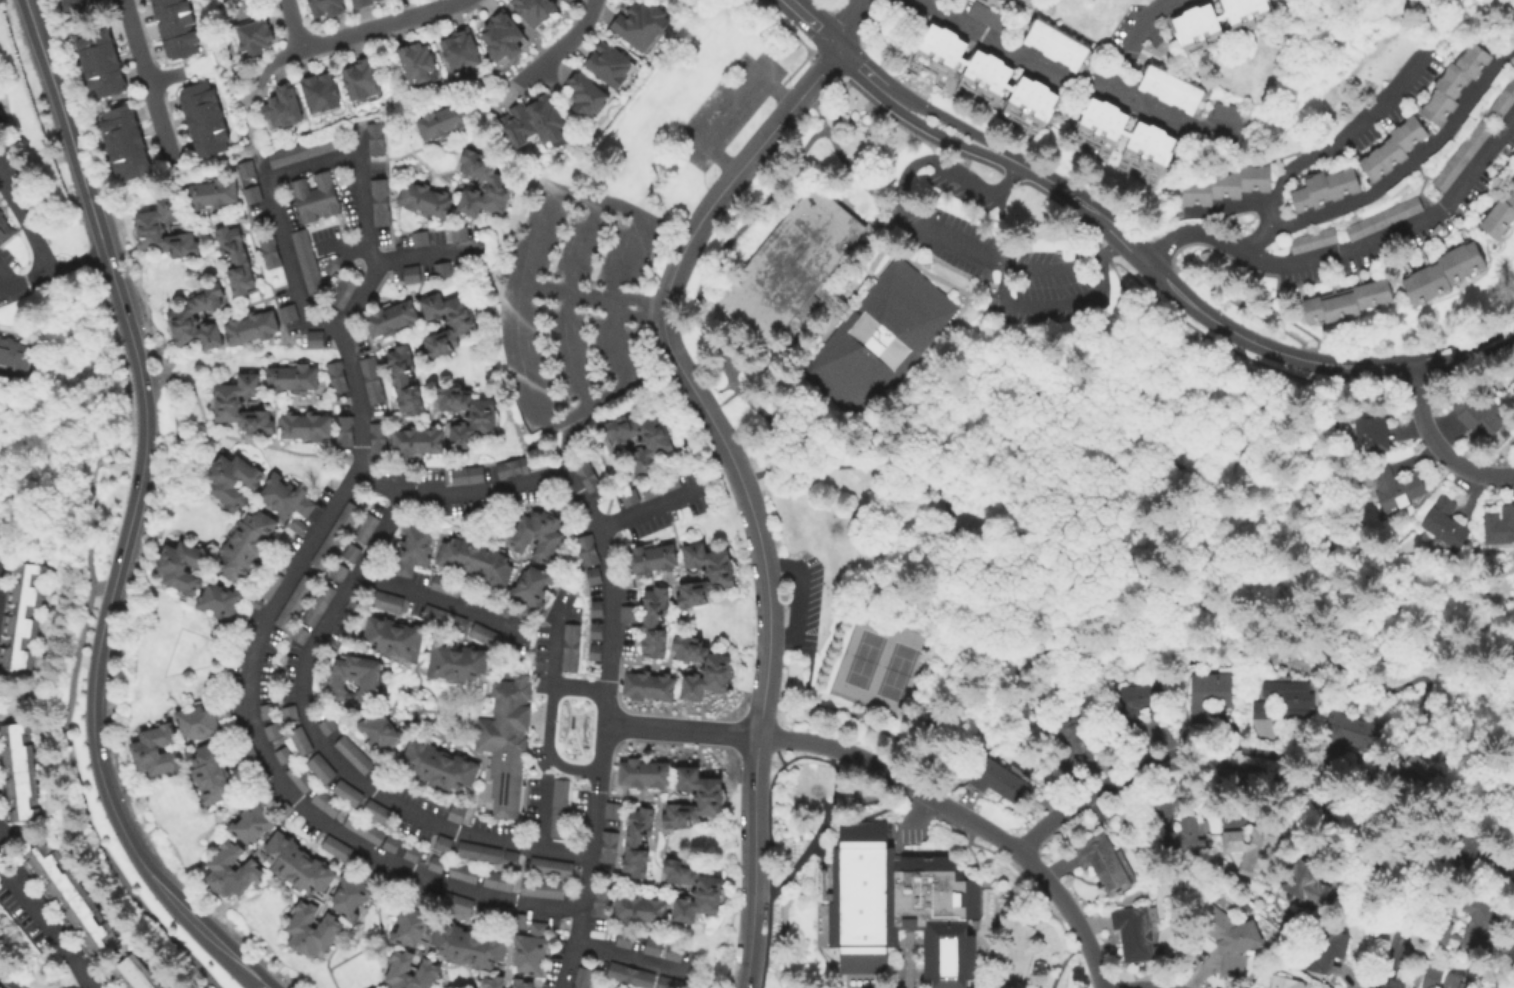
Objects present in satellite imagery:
building: (375, 0)
building: (561, 0)
building: (564, 0)
building: (1036, 0)
building: (361, 3)
building: (78, 5)
building: (326, 8)
building: (534, 10)
building: (988, 17)
road: (809, 22)
road: (847, 22)
building: (641, 25)
building: (1197, 26)
building: (175, 28)
road: (34, 31)
road: (355, 34)
building: (255, 36)
building: (502, 36)
road: (566, 45)
building: (1056, 45)
building: (461, 51)
road: (278, 59)
building: (99, 60)
building: (416, 62)
building: (609, 65)
road: (867, 74)
road: (1063, 79)
building: (360, 80)
building: (984, 80)
building: (1457, 83)
road: (146, 85)
building: (1171, 89)
building: (319, 93)
building: (586, 96)
building: (1504, 101)
road: (722, 106)
building: (283, 107)
building: (1227, 112)
road: (1157, 115)
building: (203, 119)
building: (441, 121)
road: (949, 121)
building: (533, 122)
road: (940, 134)
building: (373, 138)
road: (385, 139)
building: (1096, 141)
road: (1336, 141)
building: (124, 144)
building: (301, 150)
building: (1395, 150)
road: (250, 153)
road: (220, 156)
road: (841, 156)
building: (1463, 156)
building: (244, 168)
road: (258, 169)
road: (1395, 175)
building: (495, 182)
road: (360, 184)
building: (1228, 186)
road: (1059, 187)
building: (1327, 190)
building: (212, 191)
building: (249, 193)
building: (314, 196)
building: (422, 198)
road: (605, 201)
building: (378, 202)
road: (1234, 208)
building: (0, 213)
building: (1385, 219)
building: (1501, 219)
road: (25, 221)
building: (148, 228)
building: (5, 232)
building: (457, 232)
road: (1400, 233)
road: (1192, 235)
building: (418, 238)
road: (947, 238)
building: (1314, 241)
road: (1112, 246)
building: (267, 251)
road: (334, 251)
road: (424, 253)
building: (234, 259)
building: (305, 260)
road: (381, 261)
road: (105, 262)
road: (1053, 266)
building: (440, 269)
road: (50, 271)
building: (409, 273)
building: (1446, 275)
road: (934, 276)
road: (1277, 278)
road: (5, 282)
road: (858, 289)
building: (340, 291)
road: (564, 291)
road: (374, 294)
road: (636, 298)
road: (563, 302)
building: (837, 304)
building: (1350, 304)
road: (843, 308)
building: (286, 311)
road: (638, 312)
building: (179, 314)
road: (632, 314)
building: (389, 317)
building: (444, 322)
road: (1290, 322)
building: (249, 327)
road: (1488, 333)
building: (313, 337)
road: (1491, 346)
road: (789, 349)
road: (1275, 351)
building: (14, 355)
road: (643, 355)
road: (678, 369)
building: (335, 376)
building: (291, 377)
building: (370, 379)
building: (403, 379)
road: (384, 388)
road: (727, 388)
building: (1512, 389)
road: (623, 399)
building: (226, 403)
building: (1481, 411)
road: (176, 412)
building: (467, 416)
building: (304, 425)
road: (1176, 427)
building: (343, 430)
building: (1372, 431)
building: (376, 437)
building: (639, 439)
road: (805, 440)
road: (242, 441)
building: (416, 441)
road: (1438, 444)
road: (564, 448)
road: (361, 461)
road: (468, 466)
building: (510, 467)
building: (465, 474)
building: (585, 475)
building: (230, 480)
building: (668, 482)
road: (350, 483)
building: (1399, 488)
building: (647, 489)
building: (283, 496)
building: (627, 497)
road: (651, 509)
building: (1442, 523)
building: (300, 525)
building: (1498, 526)
building: (367, 527)
building: (333, 534)
building: (537, 534)
road: (47, 536)
building: (245, 544)
building: (413, 549)
building: (588, 550)
building: (353, 553)
building: (477, 558)
building: (651, 560)
building: (181, 565)
building: (341, 572)
building: (594, 575)
building: (705, 577)
road: (802, 579)
building: (270, 584)
building: (447, 586)
building: (531, 591)
road: (440, 599)
building: (254, 602)
building: (296, 602)
building: (389, 602)
building: (224, 604)
building: (319, 604)
building: (357, 605)
building: (507, 609)
building: (597, 609)
building: (629, 616)
building: (21, 617)
building: (445, 618)
building: (654, 623)
building: (596, 630)
building: (301, 634)
building: (485, 635)
road: (782, 637)
building: (393, 638)
building: (571, 647)
building: (595, 652)
building: (457, 663)
park: (878, 666)
building: (703, 670)
road: (553, 674)
building: (355, 679)
road: (1382, 682)
building: (648, 688)
building: (1209, 695)
building: (1290, 698)
road: (979, 699)
building: (1138, 706)
building: (1263, 709)
building: (268, 710)
road: (573, 712)
building: (290, 713)
building: (201, 718)
building: (233, 725)
building: (329, 726)
road: (680, 729)
building: (272, 731)
building: (1351, 732)
building: (379, 733)
building: (1077, 736)
road: (65, 737)
building: (301, 740)
building: (506, 741)
road: (575, 741)
road: (544, 744)
road: (559, 745)
road: (546, 747)
building: (245, 748)
road: (835, 748)
road: (327, 750)
building: (155, 751)
road: (93, 752)
building: (283, 754)
building: (354, 755)
road: (1497, 758)
road: (583, 760)
road: (794, 760)
building: (1412, 765)
building: (439, 766)
building: (322, 768)
road: (1356, 772)
building: (18, 773)
building: (210, 773)
building: (645, 773)
building: (301, 778)
building: (998, 780)
building: (390, 783)
road: (835, 784)
road: (820, 786)
road: (1343, 788)
building: (349, 793)
road: (1086, 797)
building: (695, 798)
building: (327, 804)
road: (946, 807)
building: (560, 808)
road: (1462, 809)
building: (614, 811)
building: (379, 812)
road: (541, 812)
building: (457, 813)
building: (253, 818)
road: (823, 823)
building: (365, 829)
building: (637, 841)
building: (1183, 841)
building: (444, 843)
building: (392, 844)
building: (609, 847)
building: (337, 848)
building: (1252, 849)
building: (412, 853)
building: (480, 853)
building: (1470, 857)
road: (1003, 859)
building: (511, 860)
road: (751, 861)
building: (355, 863)
building: (1103, 863)
building: (437, 864)
building: (295, 865)
building: (551, 867)
building: (230, 871)
building: (464, 873)
road: (770, 874)
building: (499, 881)
building: (1306, 883)
building: (543, 889)
building: (694, 891)
building: (354, 894)
building: (70, 900)
building: (602, 901)
building: (458, 904)
building: (641, 909)
building: (897, 910)
building: (506, 914)
road: (47, 920)
building: (409, 921)
building: (521, 921)
building: (1470, 927)
building: (310, 930)
building: (1135, 934)
road: (382, 936)
building: (1230, 938)
building: (626, 939)
building: (469, 946)
building: (654, 947)
road: (574, 948)
building: (1323, 948)
building: (533, 949)
building: (675, 952)
road: (630, 956)
road: (1391, 965)
road: (1096, 967)
building: (400, 968)
road: (1061, 968)
building: (131, 974)
building: (631, 975)
building: (1432, 976)
building: (584, 978)
building: (1456, 981)
building: (493, 982)
building: (1288, 982)
building: (522, 983)
building: (672, 983)
road: (2, 985)
road: (260, 986)

